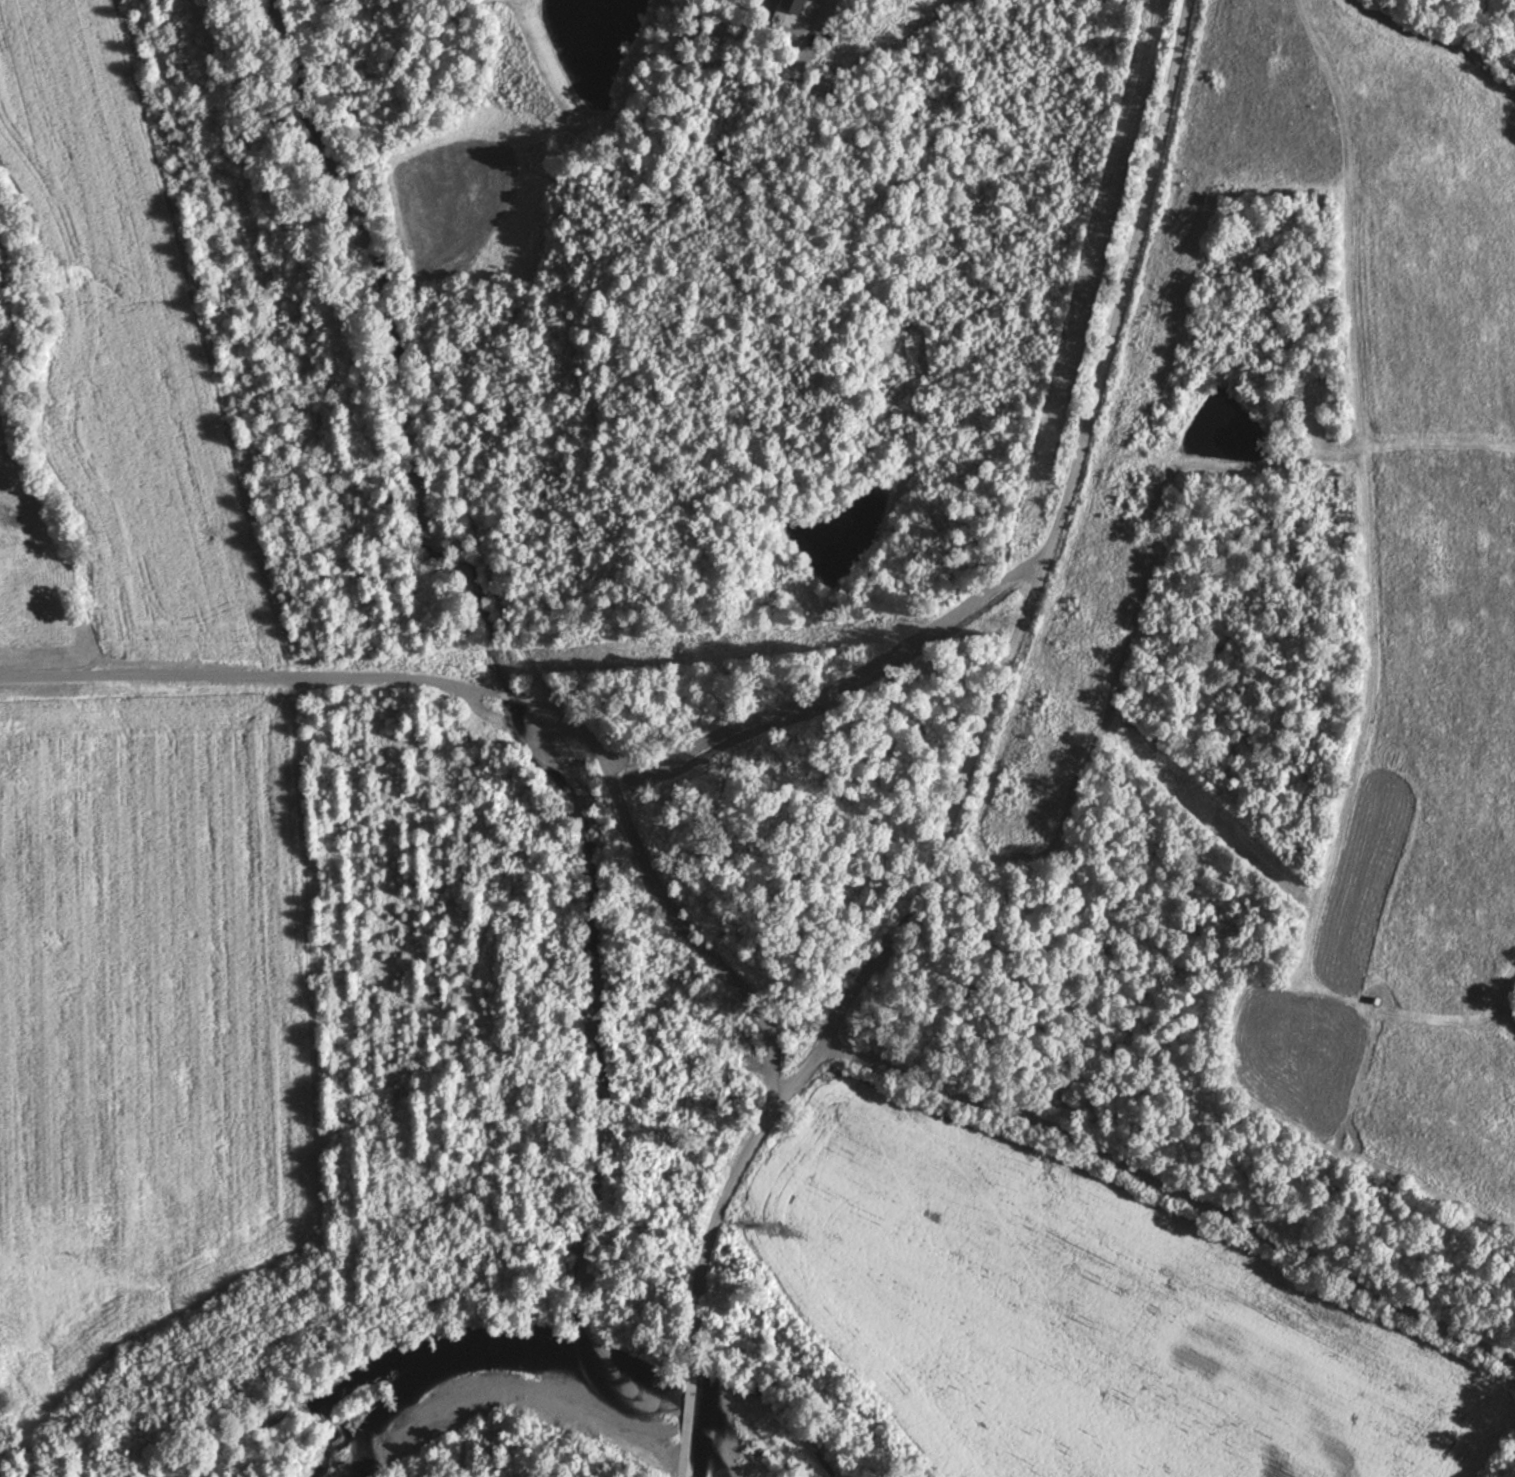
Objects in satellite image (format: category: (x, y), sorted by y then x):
road: (508, 669)
road: (967, 755)
road: (580, 903)
road: (1170, 1200)
river: (571, 1367)

